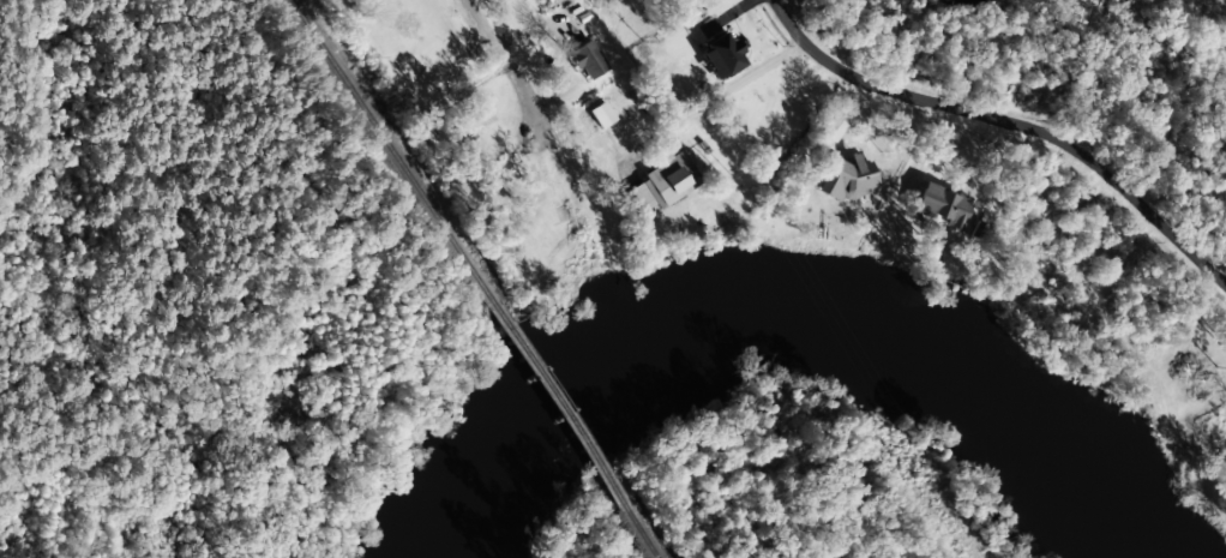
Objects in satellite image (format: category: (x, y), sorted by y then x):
building: (720, 55)
road: (499, 56)
building: (587, 61)
road: (702, 108)
road: (1004, 116)
building: (829, 128)
railway: (393, 151)
building: (845, 180)
building: (662, 184)
power tower: (737, 190)
building: (938, 205)
river: (775, 314)
railway: (557, 401)
power tower: (905, 462)
railway: (638, 529)

